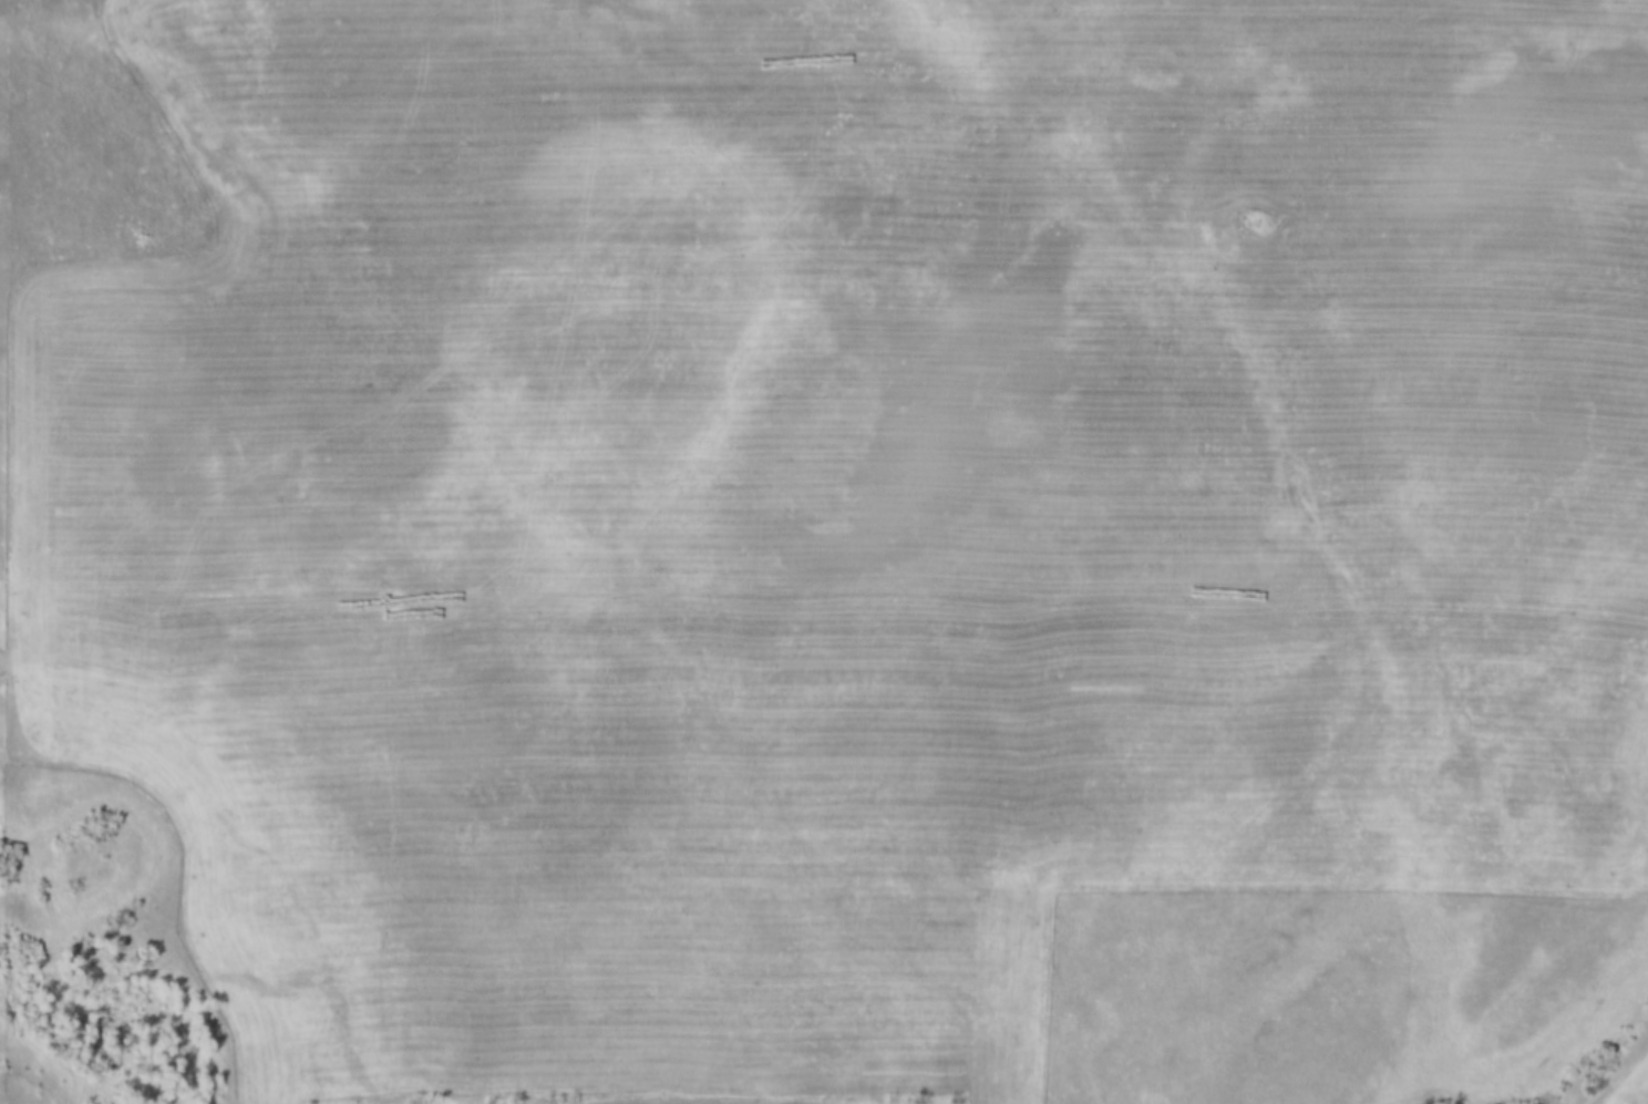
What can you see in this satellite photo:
building: (63, 684)

